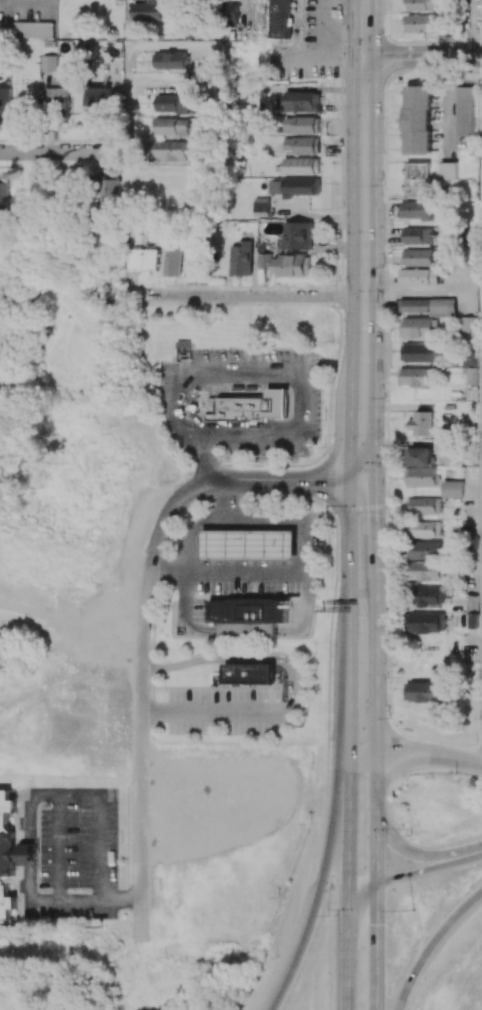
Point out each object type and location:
building: (422, 5)
building: (231, 10)
building: (148, 11)
road: (128, 12)
road: (245, 17)
building: (278, 18)
building: (421, 23)
road: (364, 28)
building: (4, 29)
road: (471, 29)
building: (33, 30)
street lamp: (343, 57)
road: (417, 58)
road: (477, 58)
building: (170, 60)
building: (49, 64)
road: (214, 70)
street lamp: (420, 71)
building: (60, 94)
building: (303, 101)
building: (5, 102)
building: (97, 102)
building: (173, 103)
road: (130, 107)
building: (466, 111)
building: (419, 119)
building: (301, 125)
building: (173, 127)
building: (303, 145)
building: (170, 151)
street lamp: (385, 151)
road: (65, 152)
building: (301, 166)
building: (450, 170)
building: (173, 175)
building: (419, 179)
building: (294, 187)
building: (111, 194)
building: (3, 198)
building: (261, 207)
building: (416, 210)
road: (362, 224)
building: (297, 235)
building: (417, 235)
building: (419, 257)
building: (142, 259)
building: (241, 259)
building: (263, 260)
building: (171, 262)
building: (192, 262)
building: (293, 265)
building: (420, 276)
street lamp: (337, 284)
road: (244, 296)
building: (429, 307)
building: (470, 323)
building: (421, 327)
building: (421, 353)
building: (472, 368)
road: (275, 370)
building: (417, 377)
road: (5, 379)
street lamp: (385, 397)
building: (248, 407)
building: (422, 424)
road: (360, 437)
street lamp: (324, 447)
building: (423, 456)
road: (207, 468)
building: (422, 476)
traffic signals: (359, 483)
building: (453, 489)
building: (425, 506)
street lamp: (325, 513)
building: (427, 529)
road: (196, 532)
road: (373, 533)
street lamp: (386, 540)
building: (248, 544)
building: (427, 550)
road: (348, 558)
road: (303, 569)
building: (429, 571)
building: (431, 596)
building: (248, 611)
road: (141, 623)
building: (429, 623)
street lamp: (387, 626)
building: (248, 629)
road: (240, 655)
road: (375, 669)
building: (248, 673)
building: (425, 691)
road: (349, 694)
road: (213, 714)
street lamp: (389, 717)
road: (363, 753)
building: (61, 754)
road: (429, 756)
road: (376, 785)
road: (30, 794)
road: (348, 830)
street lamp: (410, 834)
road: (406, 848)
building: (6, 853)
road: (466, 853)
building: (26, 854)
traffic signals: (348, 874)
road: (392, 874)
traffic signals: (394, 874)
road: (320, 885)
road: (120, 899)
traffic signals: (376, 908)
street lamp: (413, 910)
road: (376, 913)
street lamp: (328, 915)
road: (431, 944)
street lamp: (276, 957)
road: (348, 959)

